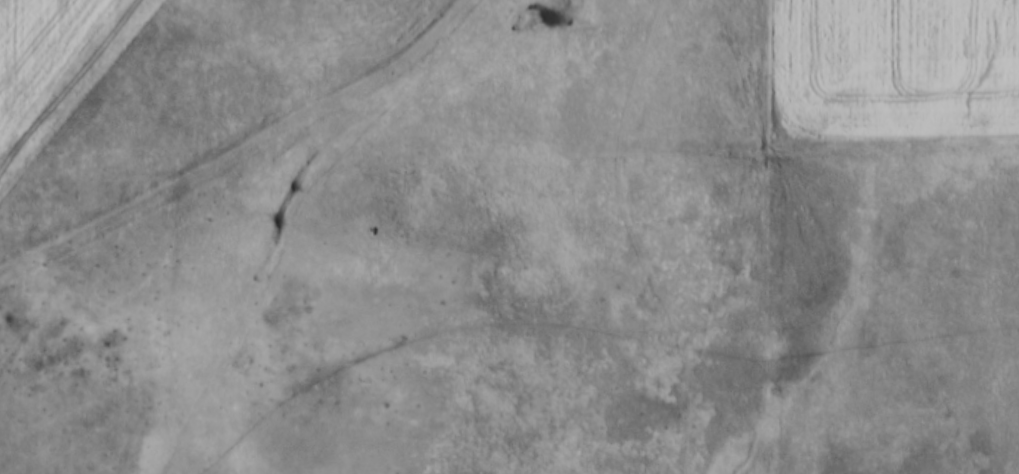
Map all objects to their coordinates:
crop: (36, 51)
crop: (898, 66)
road: (72, 90)

